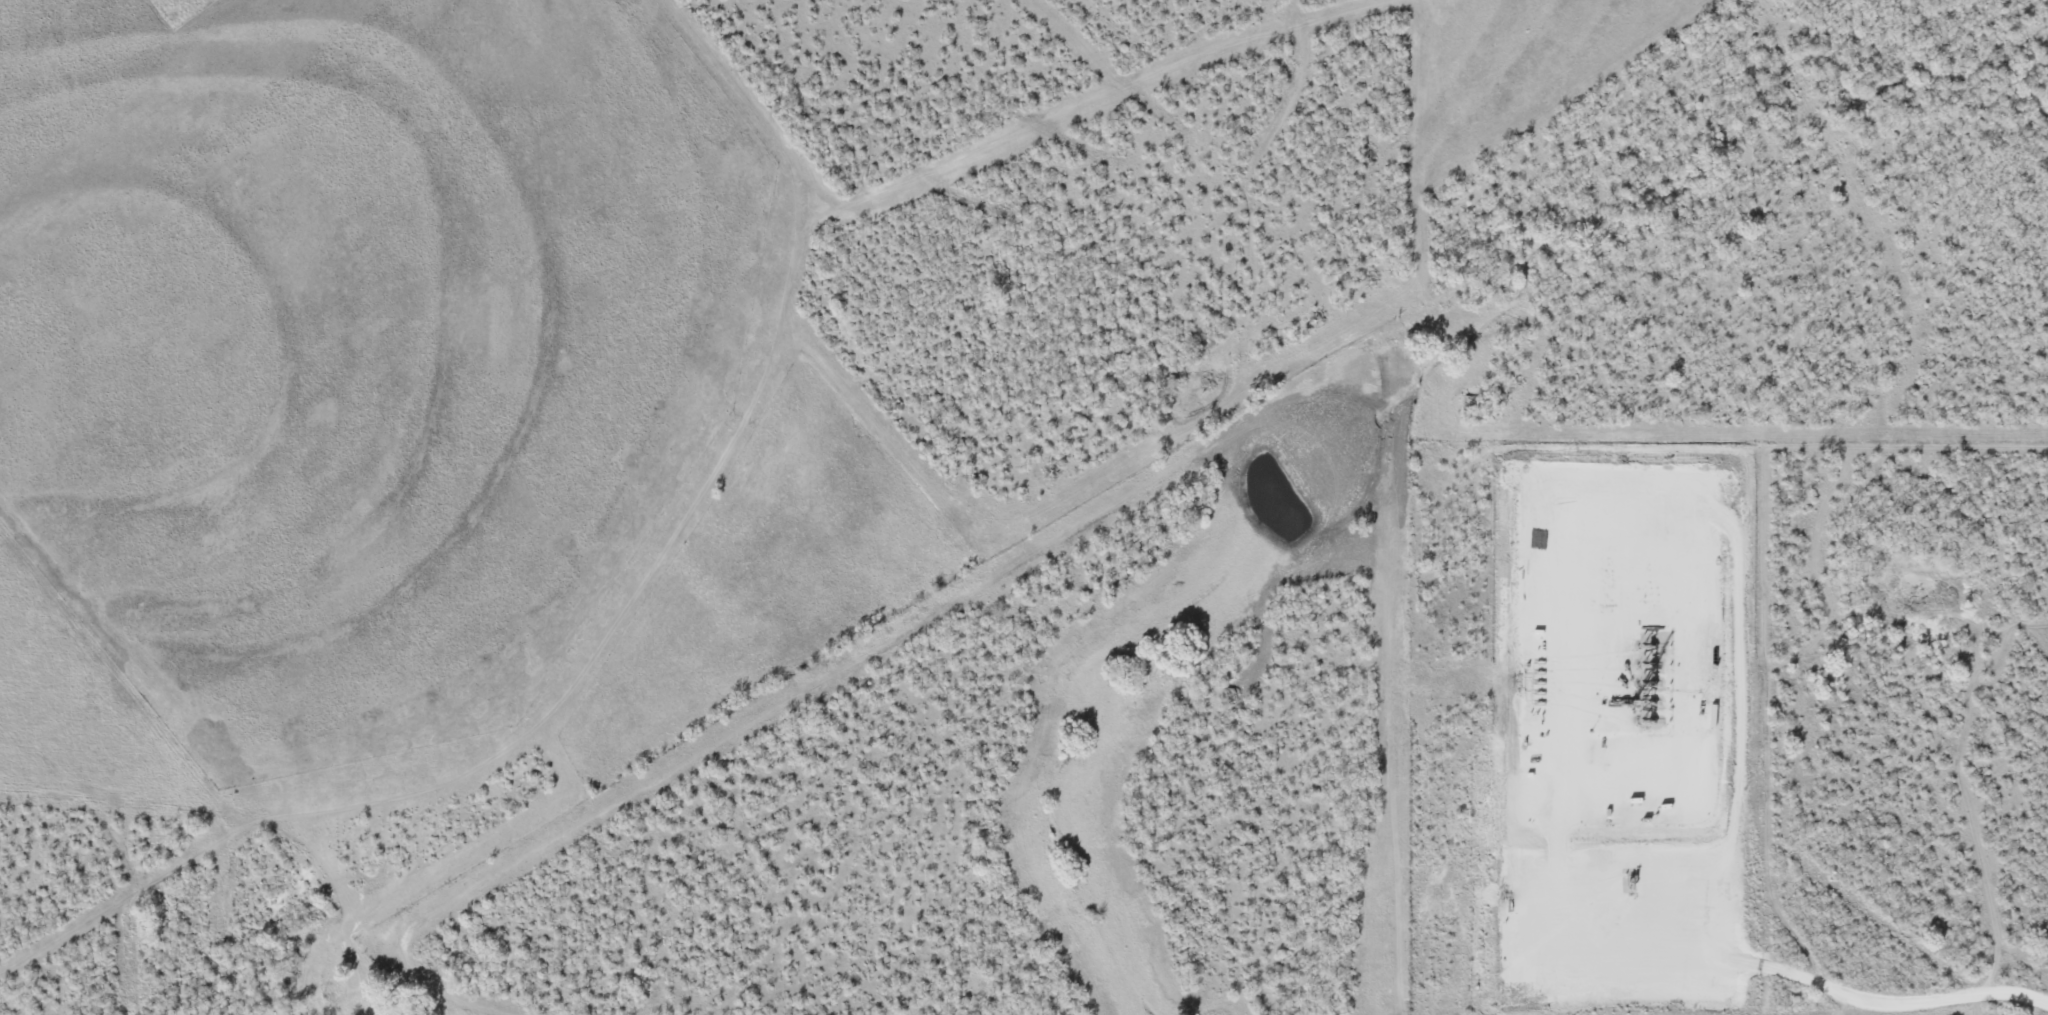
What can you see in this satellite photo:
river: (1430, 377)
road: (1780, 969)
river: (363, 1013)

